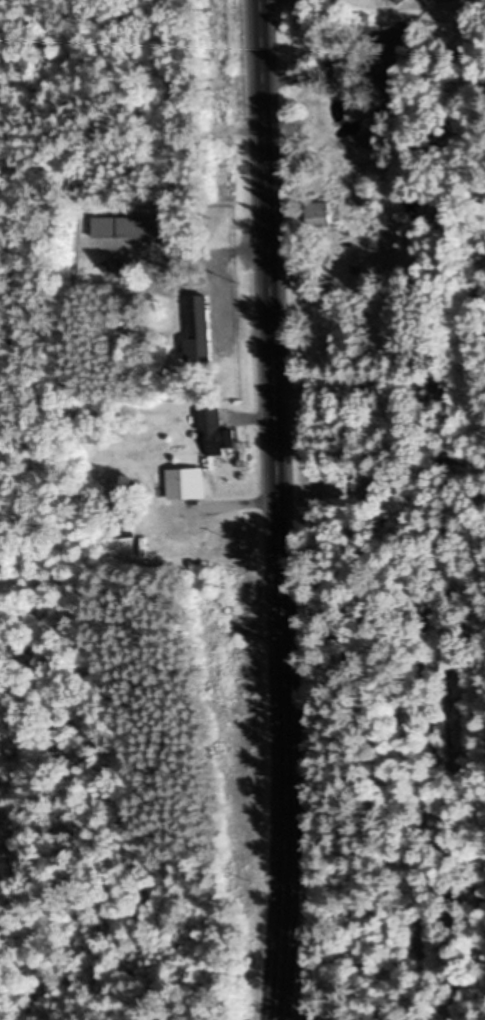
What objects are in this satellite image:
building: (318, 213)
building: (127, 227)
building: (198, 328)
building: (213, 432)
building: (185, 484)
building: (377, 492)
road: (280, 510)

